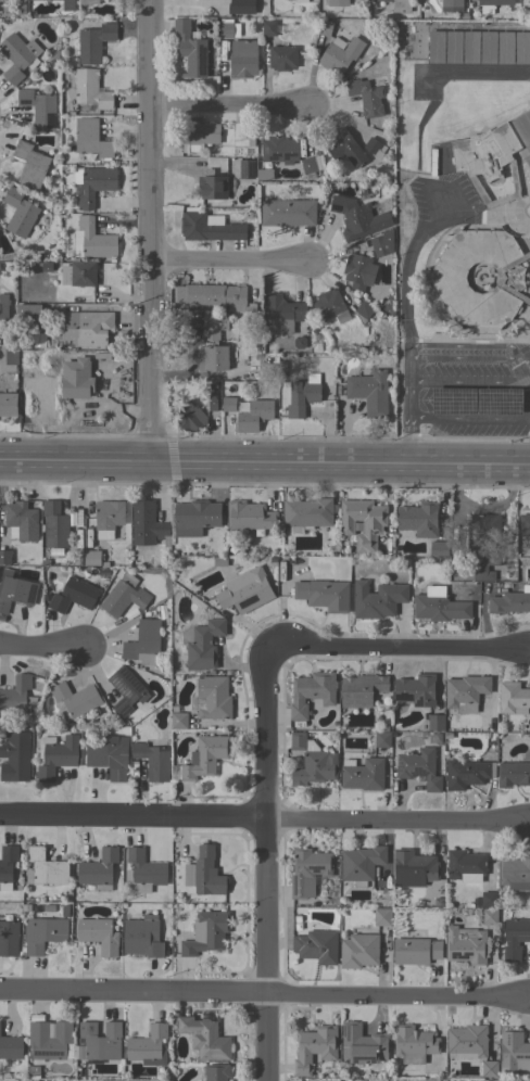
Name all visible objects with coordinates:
building: (28, 0)
building: (114, 1)
building: (300, 1)
building: (89, 2)
building: (338, 2)
building: (452, 3)
building: (66, 4)
building: (492, 4)
building: (400, 5)
building: (241, 7)
building: (269, 27)
building: (325, 27)
building: (228, 29)
building: (94, 42)
building: (437, 47)
building: (454, 47)
building: (471, 47)
building: (489, 47)
building: (506, 47)
building: (191, 48)
building: (522, 48)
building: (340, 54)
building: (17, 56)
building: (282, 58)
building: (243, 59)
building: (91, 89)
building: (366, 97)
road: (234, 106)
building: (39, 107)
building: (523, 127)
building: (200, 132)
building: (242, 132)
building: (91, 138)
building: (344, 147)
building: (375, 147)
building: (280, 150)
building: (528, 160)
building: (490, 163)
building: (33, 165)
building: (308, 167)
building: (247, 168)
building: (264, 175)
building: (93, 183)
building: (213, 186)
building: (288, 212)
building: (20, 213)
building: (357, 217)
building: (209, 227)
road: (154, 230)
building: (92, 240)
building: (382, 244)
road: (234, 263)
building: (46, 267)
building: (357, 270)
road: (404, 271)
building: (79, 274)
building: (480, 277)
building: (217, 296)
building: (330, 306)
building: (5, 308)
building: (364, 310)
building: (29, 311)
building: (285, 315)
building: (92, 328)
building: (213, 343)
road: (424, 351)
building: (10, 355)
building: (267, 371)
building: (77, 378)
building: (369, 392)
building: (303, 395)
building: (476, 400)
building: (213, 402)
building: (9, 404)
building: (229, 404)
building: (190, 417)
road: (471, 418)
building: (248, 422)
road: (264, 461)
building: (307, 512)
building: (109, 514)
building: (250, 516)
building: (21, 518)
building: (195, 518)
building: (419, 519)
building: (363, 522)
building: (147, 523)
building: (525, 524)
building: (55, 525)
building: (485, 546)
building: (439, 549)
building: (5, 557)
building: (92, 557)
building: (15, 590)
building: (245, 590)
building: (74, 595)
building: (124, 595)
building: (324, 595)
building: (377, 599)
building: (510, 601)
building: (439, 606)
building: (144, 644)
building: (203, 644)
road: (40, 645)
road: (400, 649)
building: (363, 689)
building: (126, 690)
building: (416, 690)
building: (312, 692)
building: (466, 692)
building: (16, 695)
building: (213, 698)
building: (513, 698)
building: (75, 699)
building: (179, 720)
building: (436, 723)
building: (382, 739)
building: (56, 755)
building: (15, 756)
building: (110, 756)
building: (203, 758)
building: (153, 761)
building: (312, 762)
building: (419, 767)
building: (467, 773)
building: (363, 774)
building: (514, 774)
road: (261, 822)
road: (267, 862)
building: (362, 864)
building: (465, 865)
building: (8, 866)
building: (46, 867)
building: (414, 868)
building: (99, 869)
building: (144, 870)
building: (308, 872)
building: (205, 873)
building: (515, 873)
building: (489, 899)
building: (382, 916)
building: (489, 916)
building: (206, 932)
building: (43, 933)
building: (99, 934)
building: (9, 938)
building: (142, 938)
building: (515, 938)
building: (466, 945)
building: (317, 946)
building: (359, 951)
building: (416, 951)
road: (264, 995)
road: (529, 1000)
building: (205, 1038)
building: (50, 1041)
building: (99, 1041)
building: (467, 1041)
building: (363, 1044)
building: (414, 1044)
building: (149, 1045)
building: (11, 1047)
building: (315, 1047)
building: (514, 1052)
building: (490, 1069)
building: (33, 1072)
building: (216, 1072)

